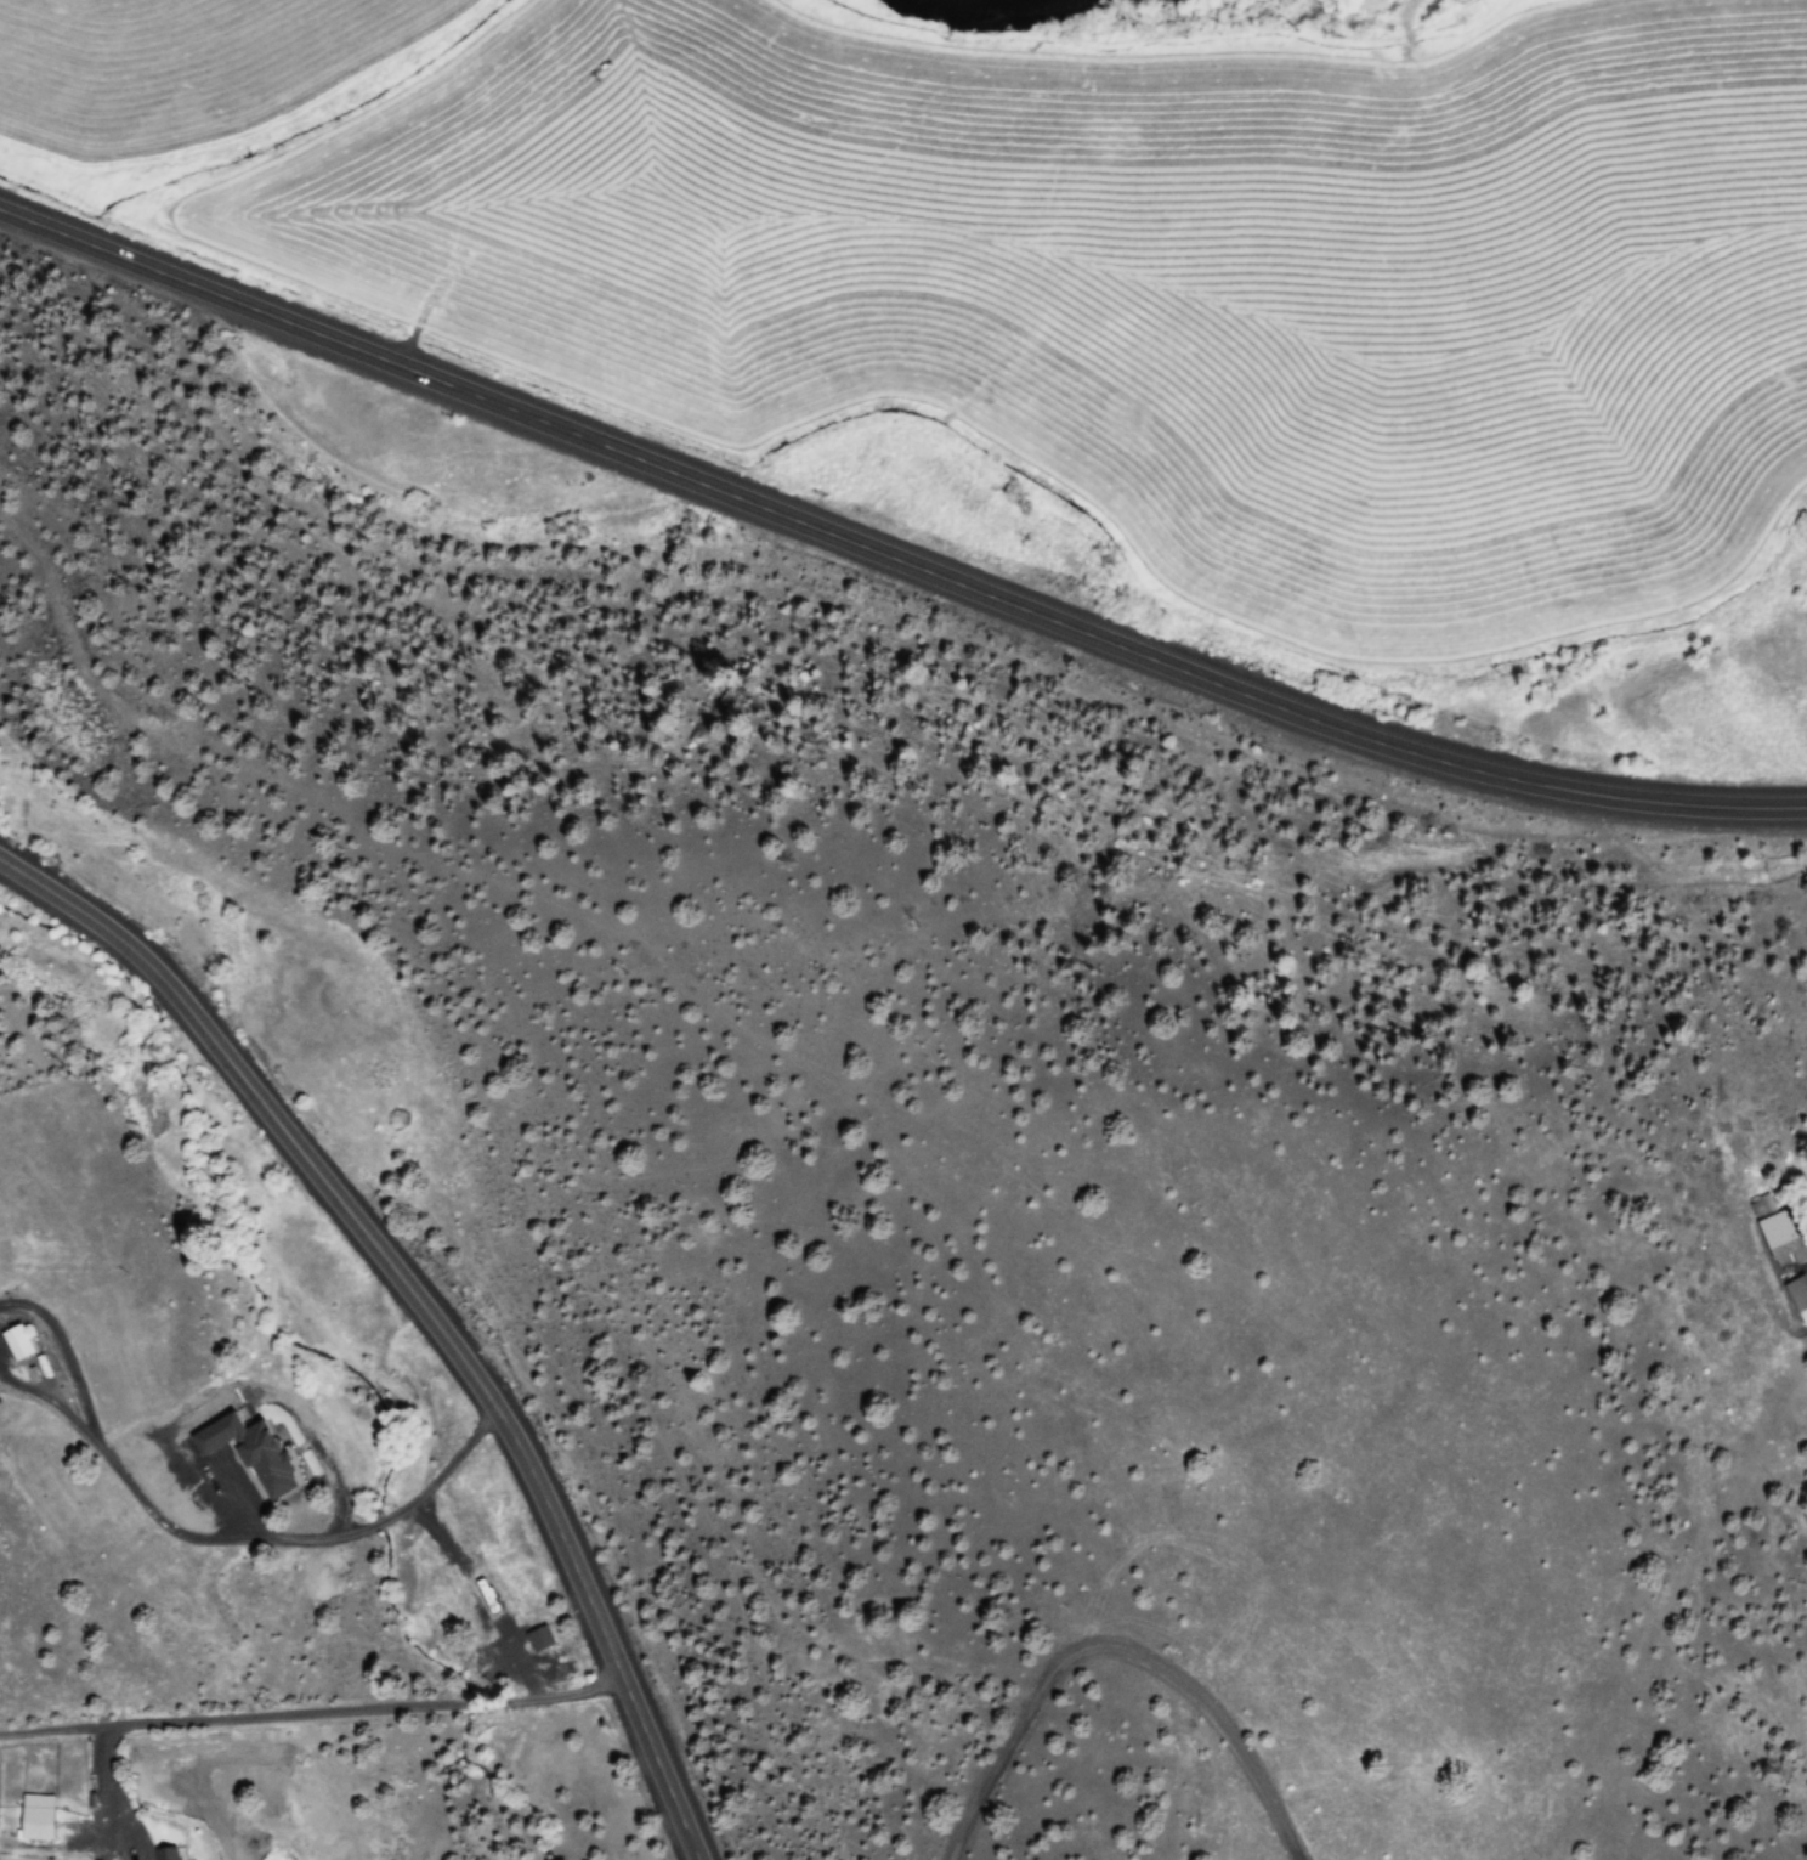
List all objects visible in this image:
river: (992, 1)
road: (891, 554)
road: (420, 1308)
building: (208, 1441)
road: (239, 1537)
building: (540, 1638)
road: (313, 1717)
building: (39, 1816)
building: (174, 1853)

